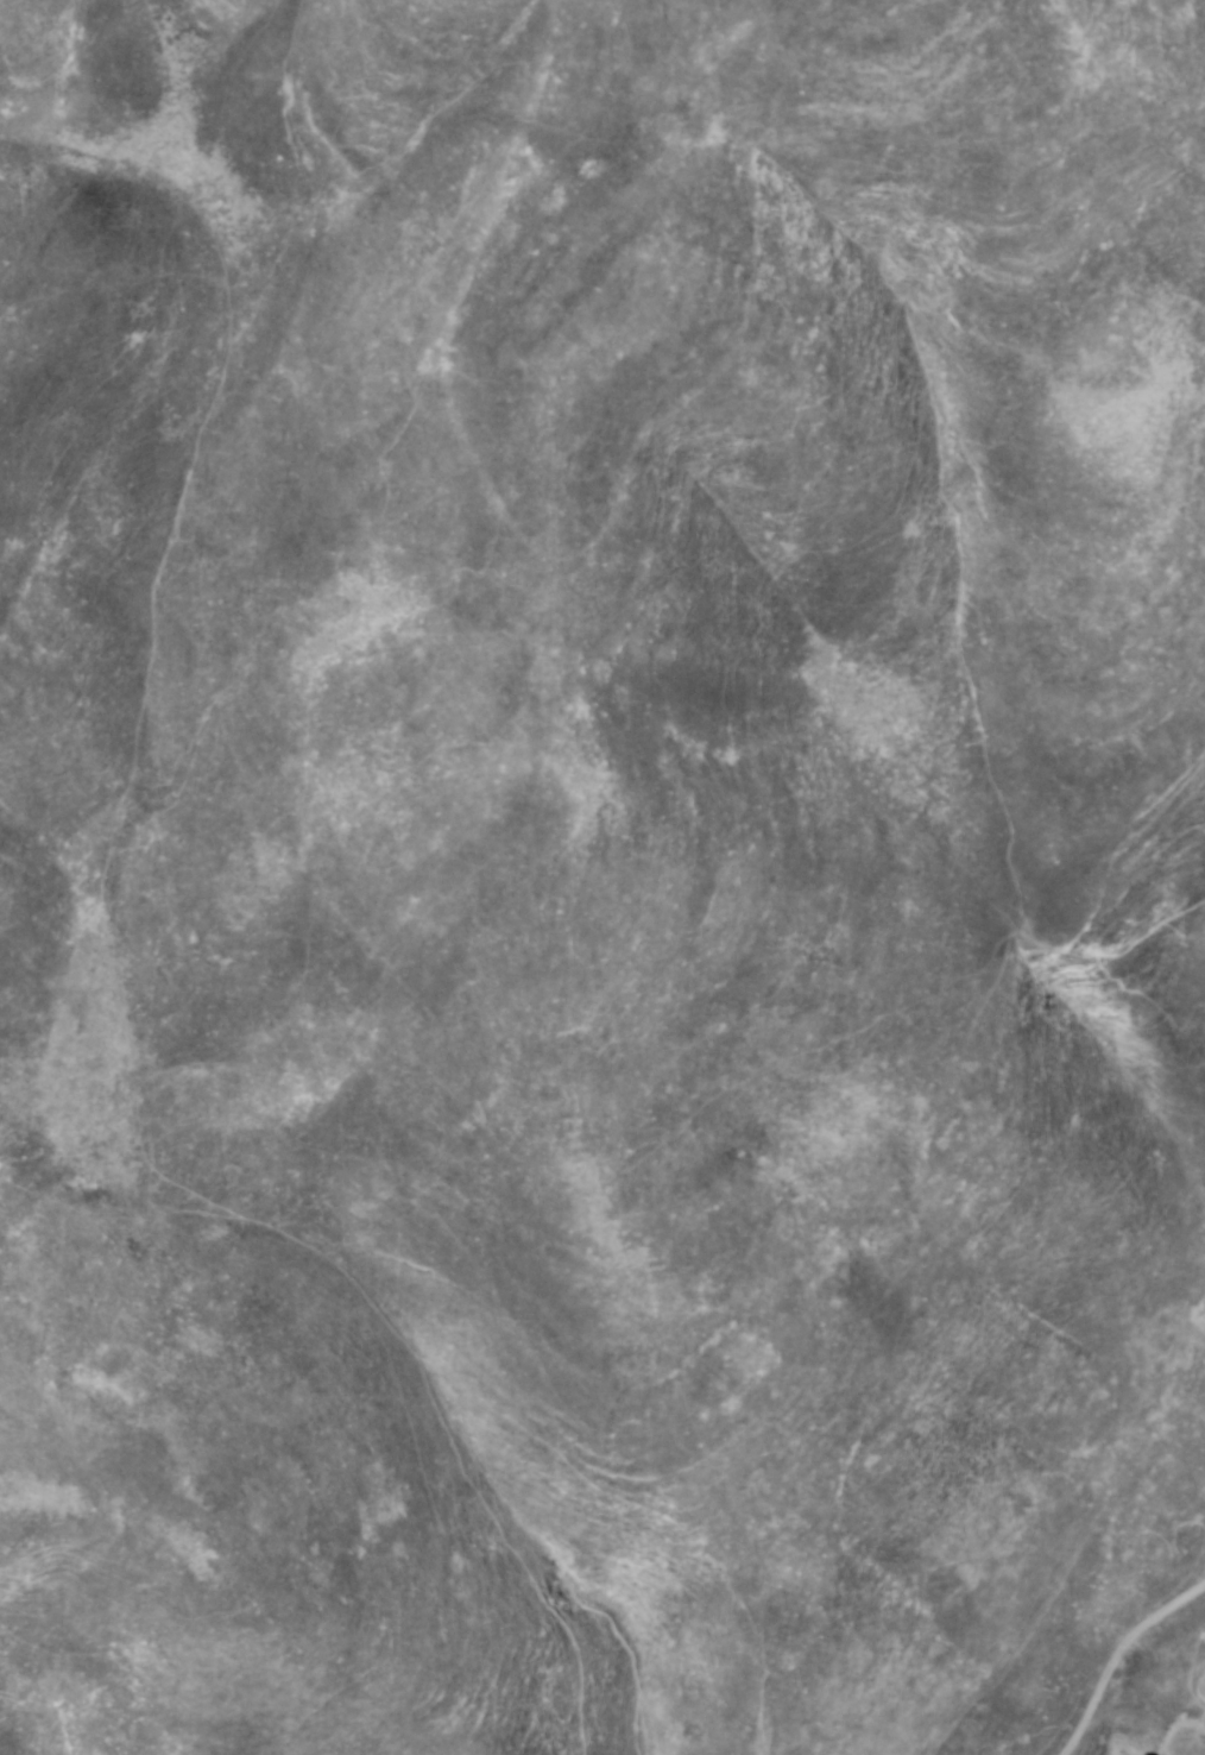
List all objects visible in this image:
road: (1117, 1655)

